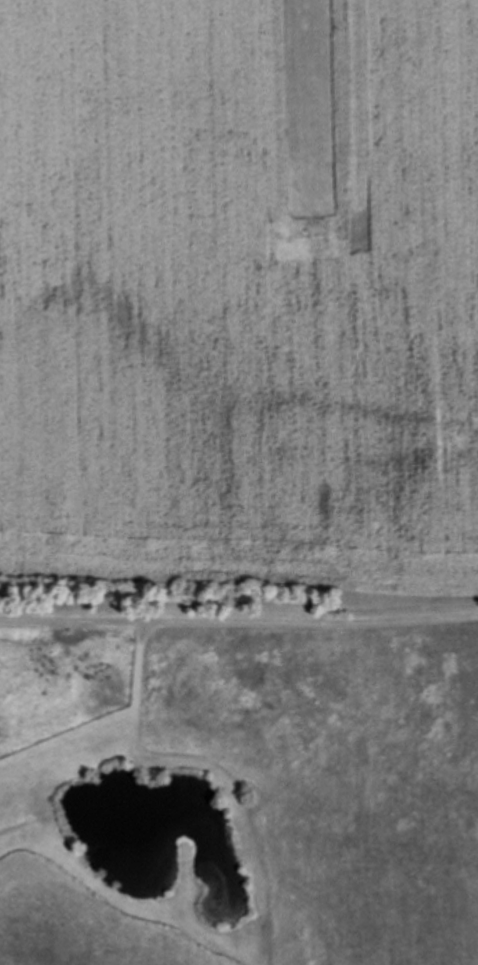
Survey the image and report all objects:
airport runway: (305, 95)

